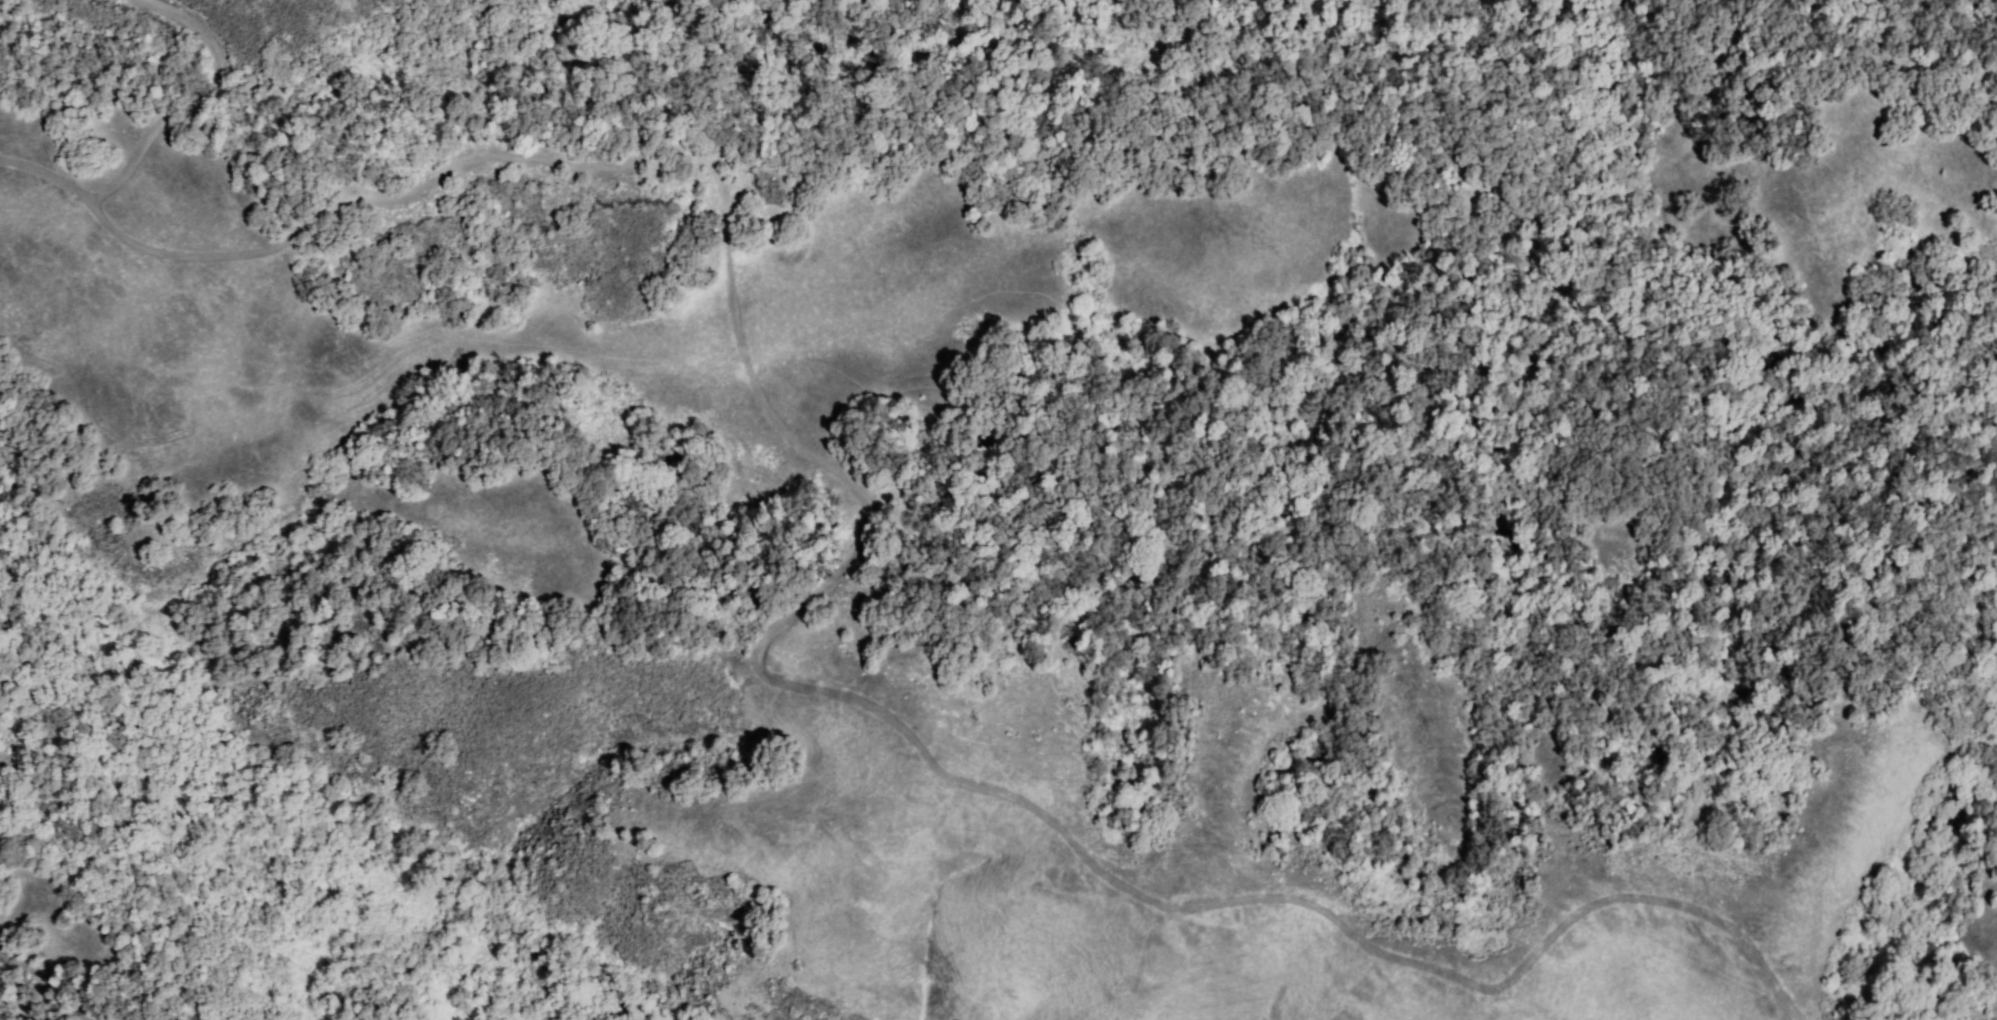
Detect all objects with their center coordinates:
road: (193, 94)
road: (799, 614)
road: (1142, 968)

